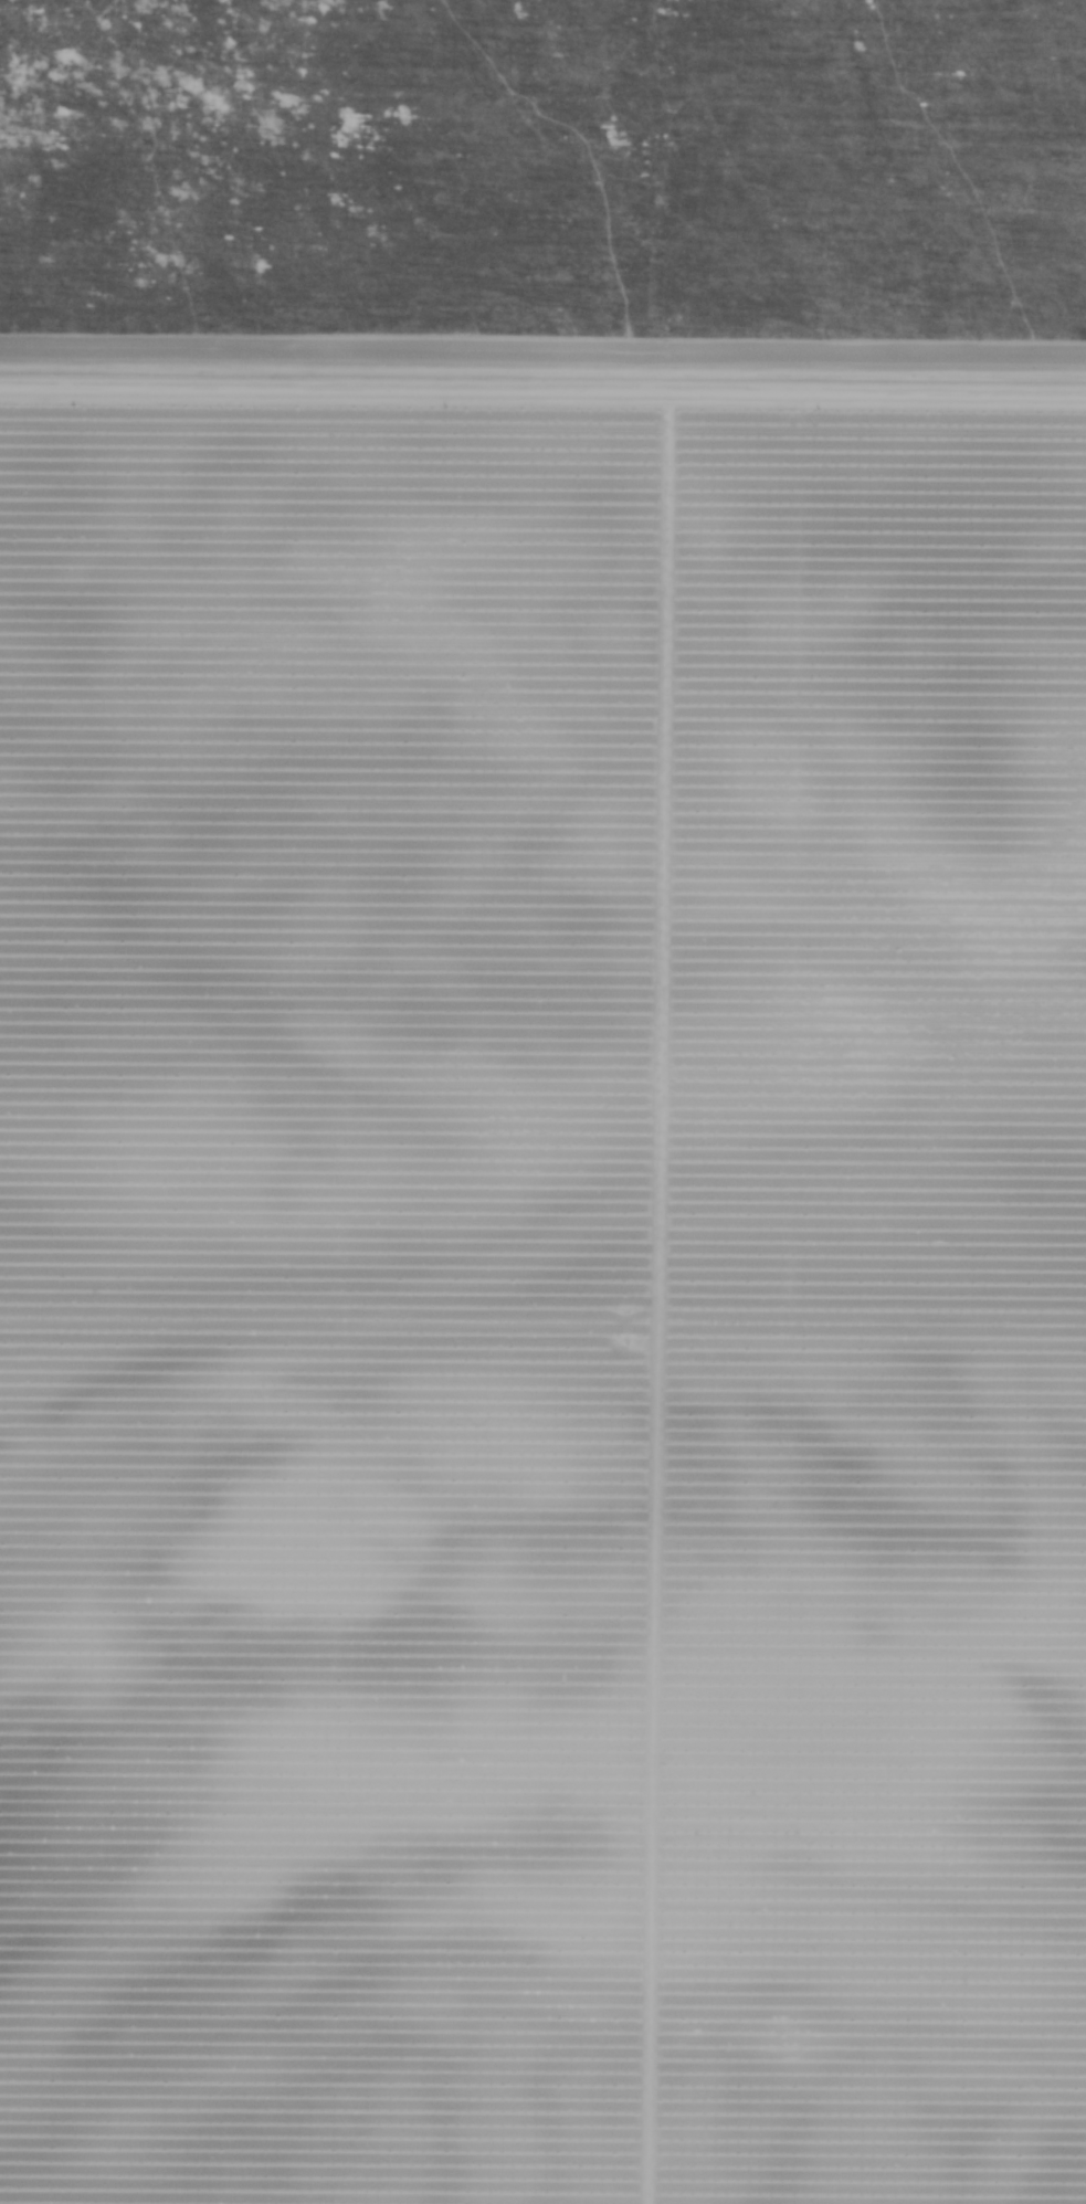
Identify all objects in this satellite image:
crop: (584, 13)
crop: (535, 135)
road: (542, 398)
crop: (542, 1203)
road: (419, 2174)
road: (370, 2187)

